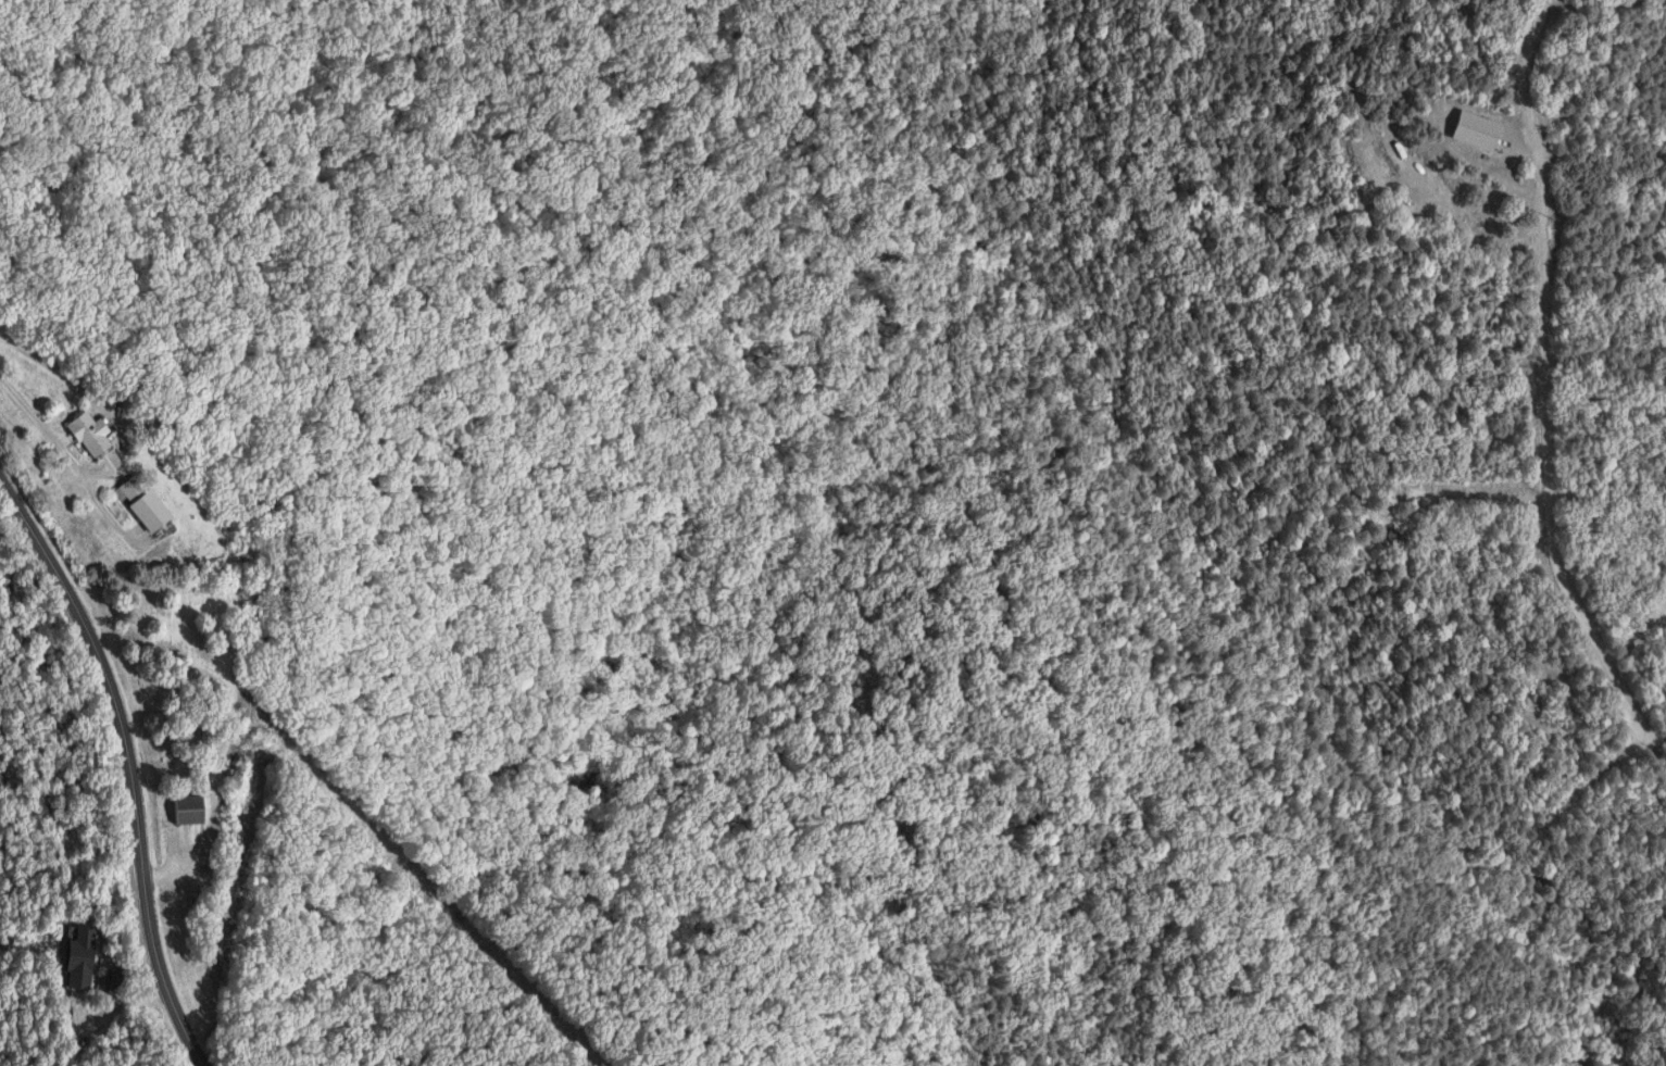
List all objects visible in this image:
building: (1478, 130)
road: (1480, 246)
road: (1540, 404)
building: (89, 432)
road: (135, 462)
building: (142, 503)
building: (1395, 537)
road: (422, 687)
road: (136, 756)
building: (189, 808)
building: (80, 957)
road: (691, 974)
building: (114, 980)

